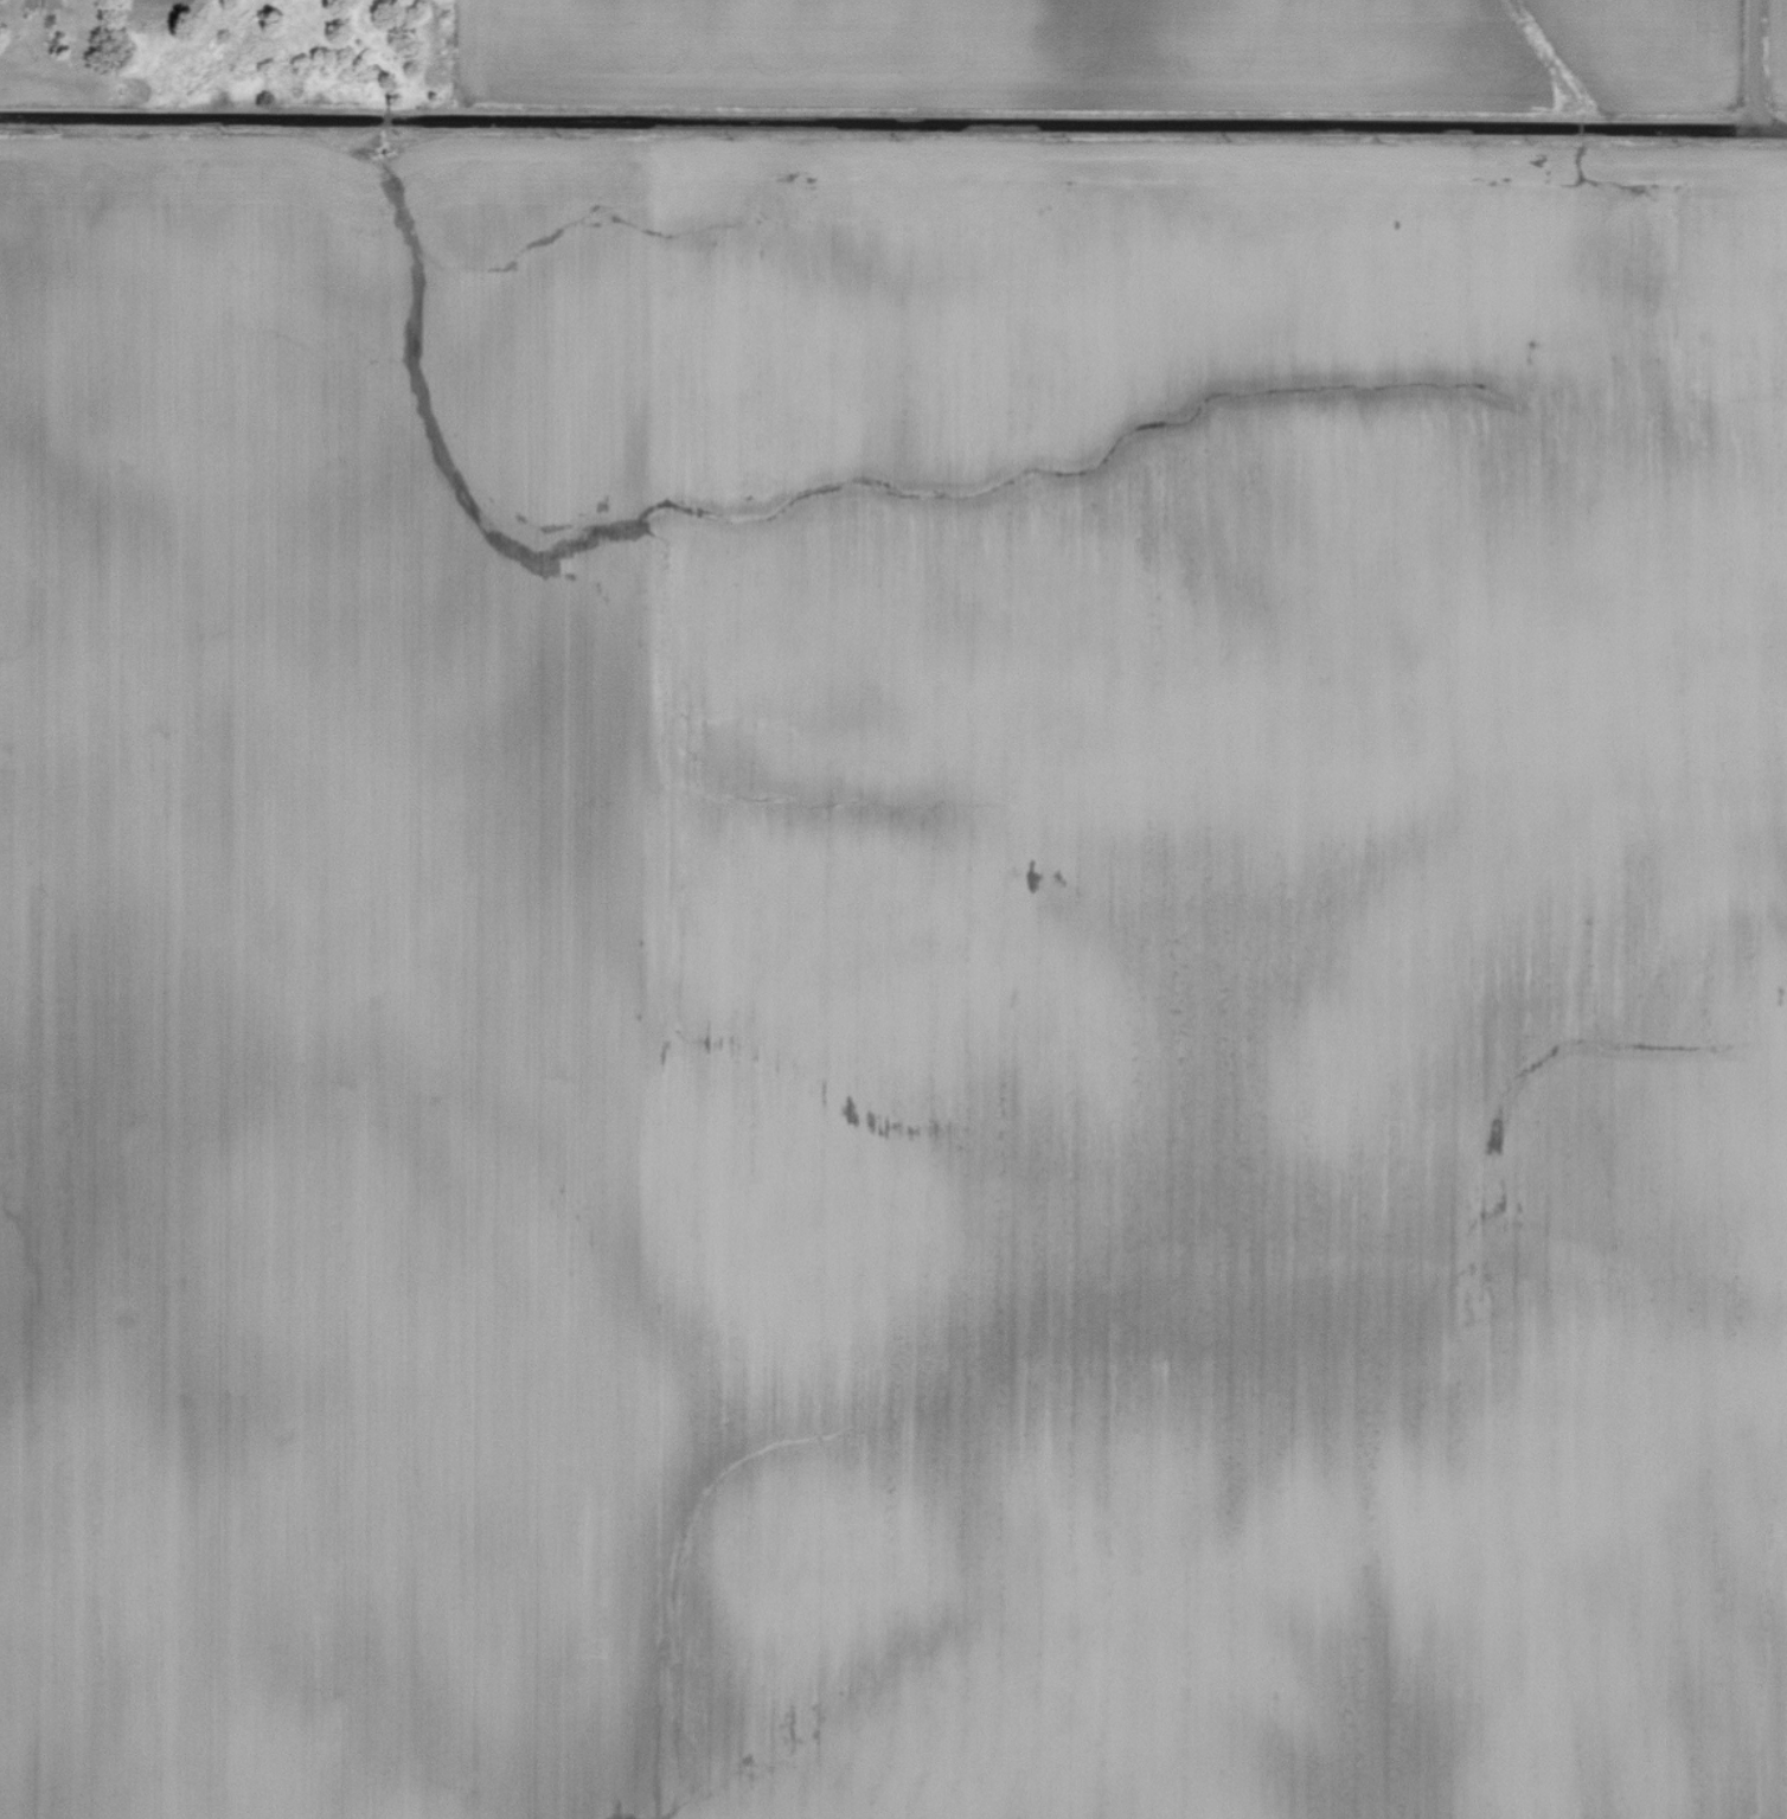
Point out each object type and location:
road: (1755, 64)
road: (894, 121)

